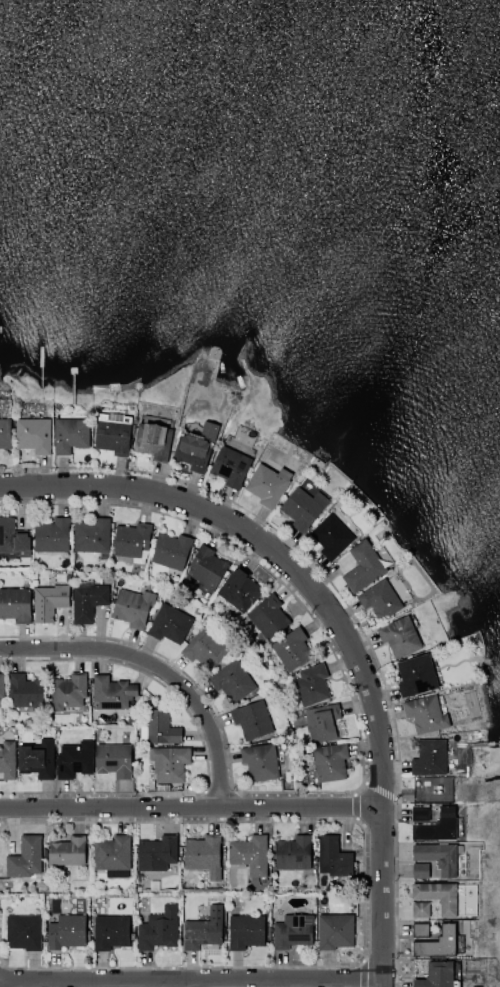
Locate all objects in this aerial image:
building: (113, 433)
building: (5, 434)
building: (33, 434)
building: (70, 434)
building: (153, 440)
building: (195, 446)
building: (230, 466)
building: (267, 484)
building: (302, 507)
building: (333, 534)
building: (51, 535)
building: (92, 535)
building: (13, 538)
building: (132, 541)
building: (170, 550)
building: (363, 566)
building: (206, 568)
building: (239, 589)
building: (380, 599)
building: (49, 601)
building: (88, 601)
building: (15, 604)
building: (132, 607)
building: (267, 616)
road: (336, 617)
building: (169, 623)
building: (399, 636)
building: (204, 647)
building: (292, 649)
road: (158, 669)
building: (416, 674)
building: (232, 681)
building: (311, 684)
building: (1, 690)
building: (26, 691)
building: (68, 691)
building: (111, 692)
building: (425, 713)
building: (252, 719)
building: (323, 723)
building: (161, 727)
building: (429, 757)
building: (7, 758)
building: (37, 758)
building: (74, 759)
building: (114, 759)
building: (260, 761)
building: (330, 761)
building: (169, 762)
building: (432, 789)
road: (191, 808)
building: (420, 812)
building: (437, 826)
building: (67, 851)
building: (156, 853)
building: (293, 853)
building: (249, 854)
building: (112, 855)
building: (204, 855)
building: (438, 856)
building: (333, 857)
building: (26, 859)
building: (420, 870)
building: (438, 896)
building: (420, 909)
building: (158, 929)
building: (204, 929)
building: (420, 929)
building: (293, 930)
building: (24, 931)
building: (66, 931)
building: (245, 931)
building: (335, 931)
building: (111, 932)
building: (438, 943)
building: (438, 975)
road: (189, 980)
road: (187, 984)
building: (478, 986)

